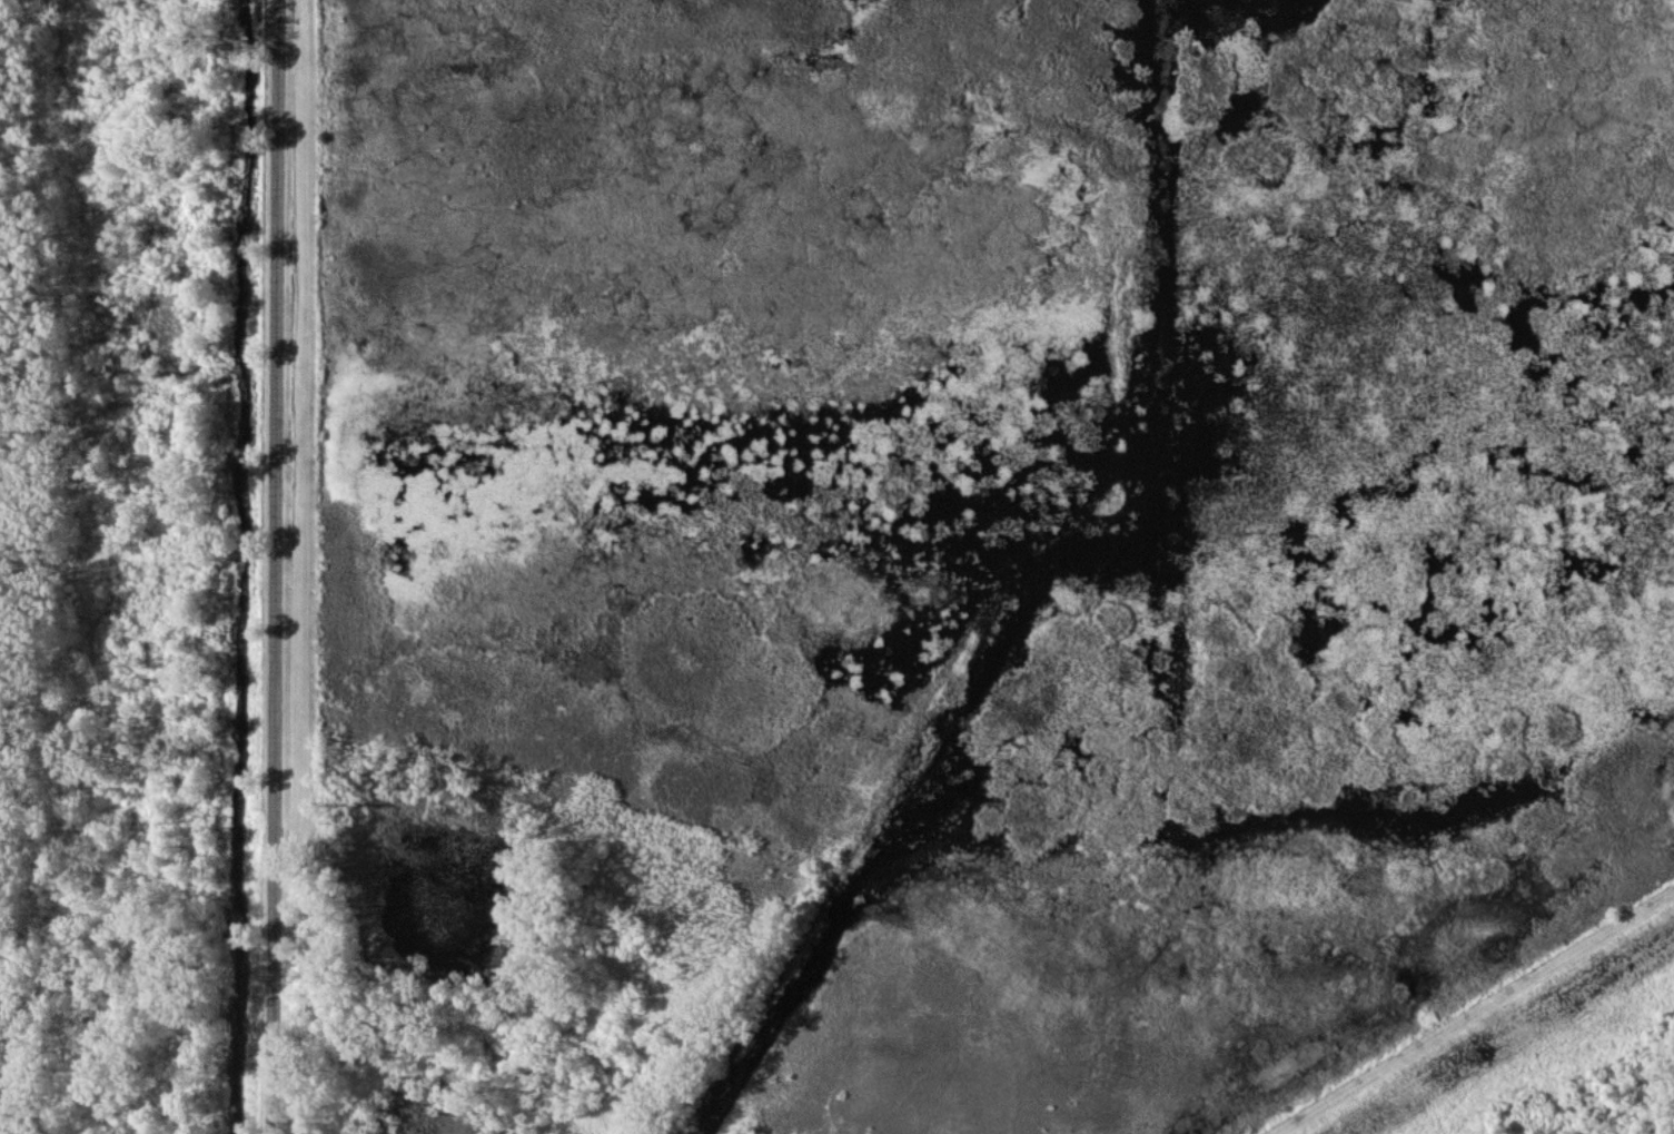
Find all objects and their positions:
road: (281, 566)

